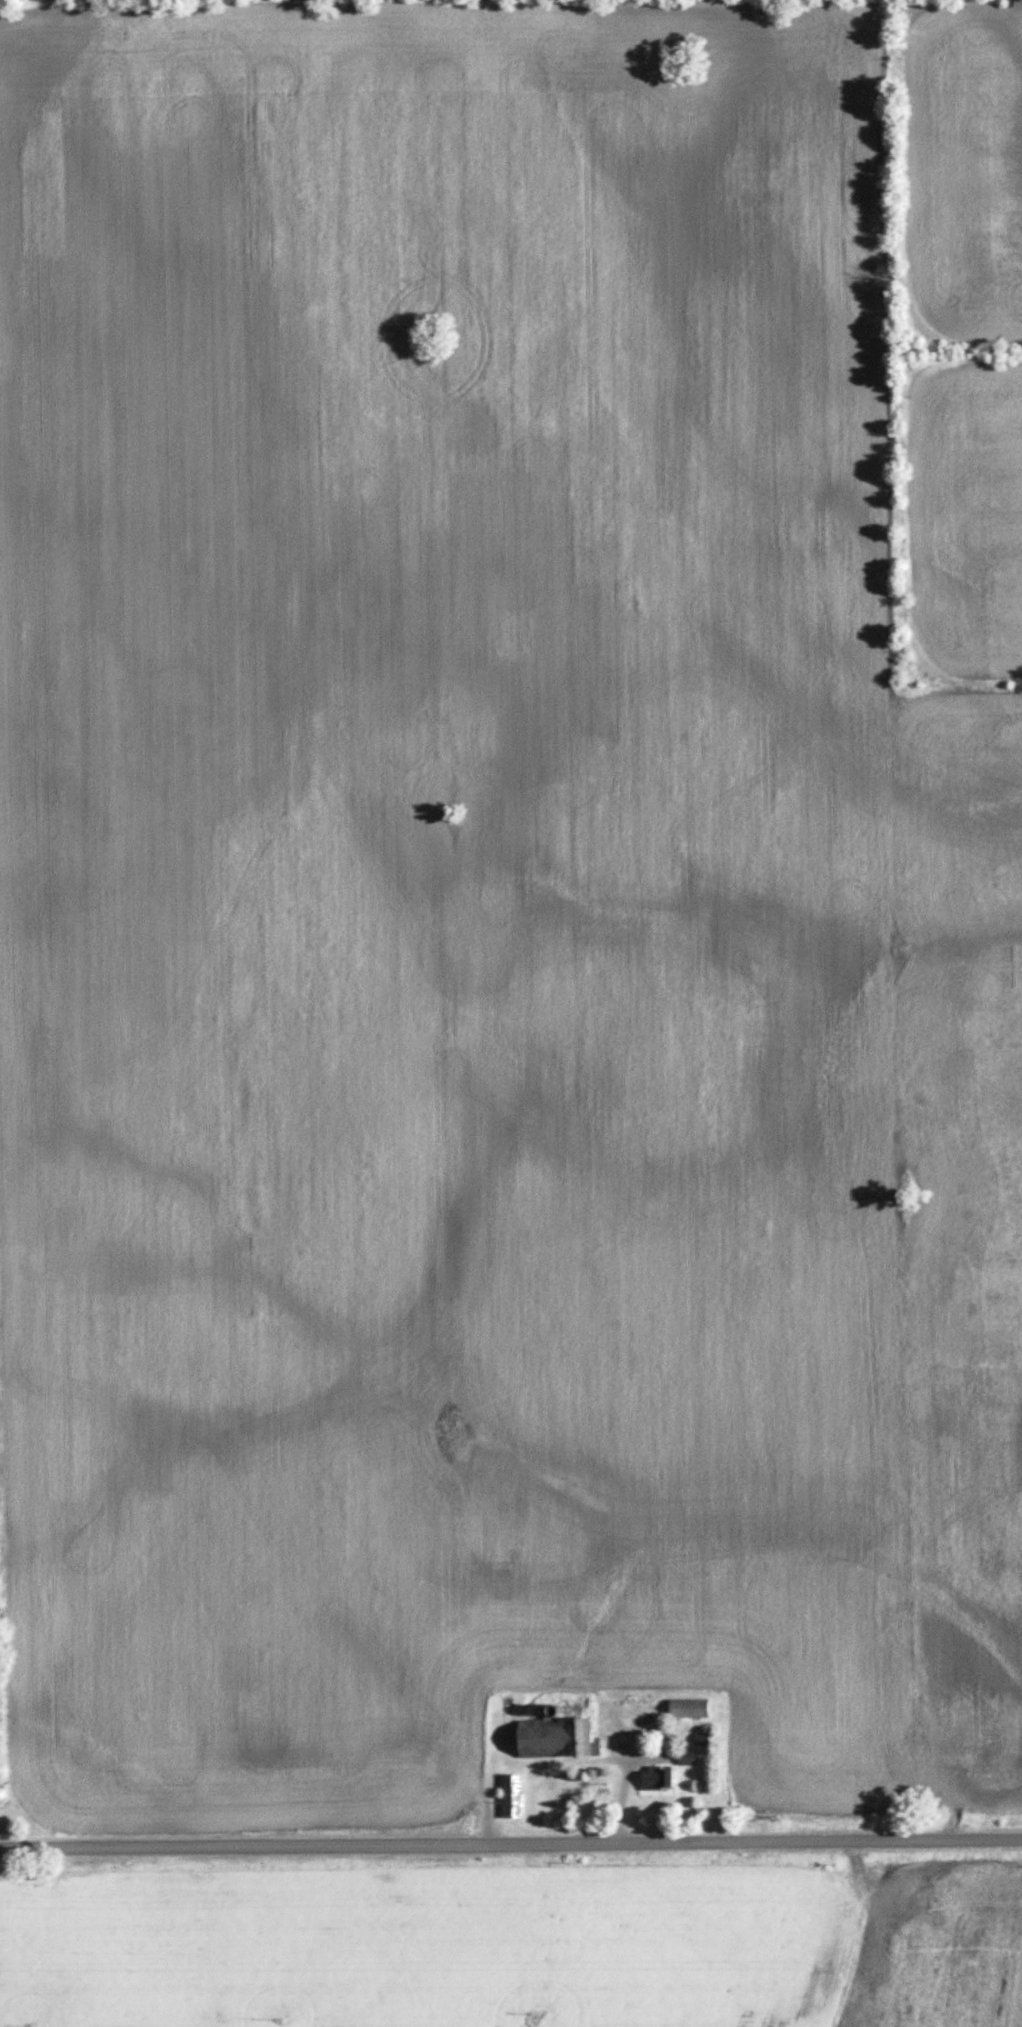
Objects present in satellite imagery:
building: (694, 1710)
building: (559, 1739)
building: (706, 1739)
building: (691, 1759)
building: (663, 1779)
building: (516, 1797)
road: (510, 1842)

